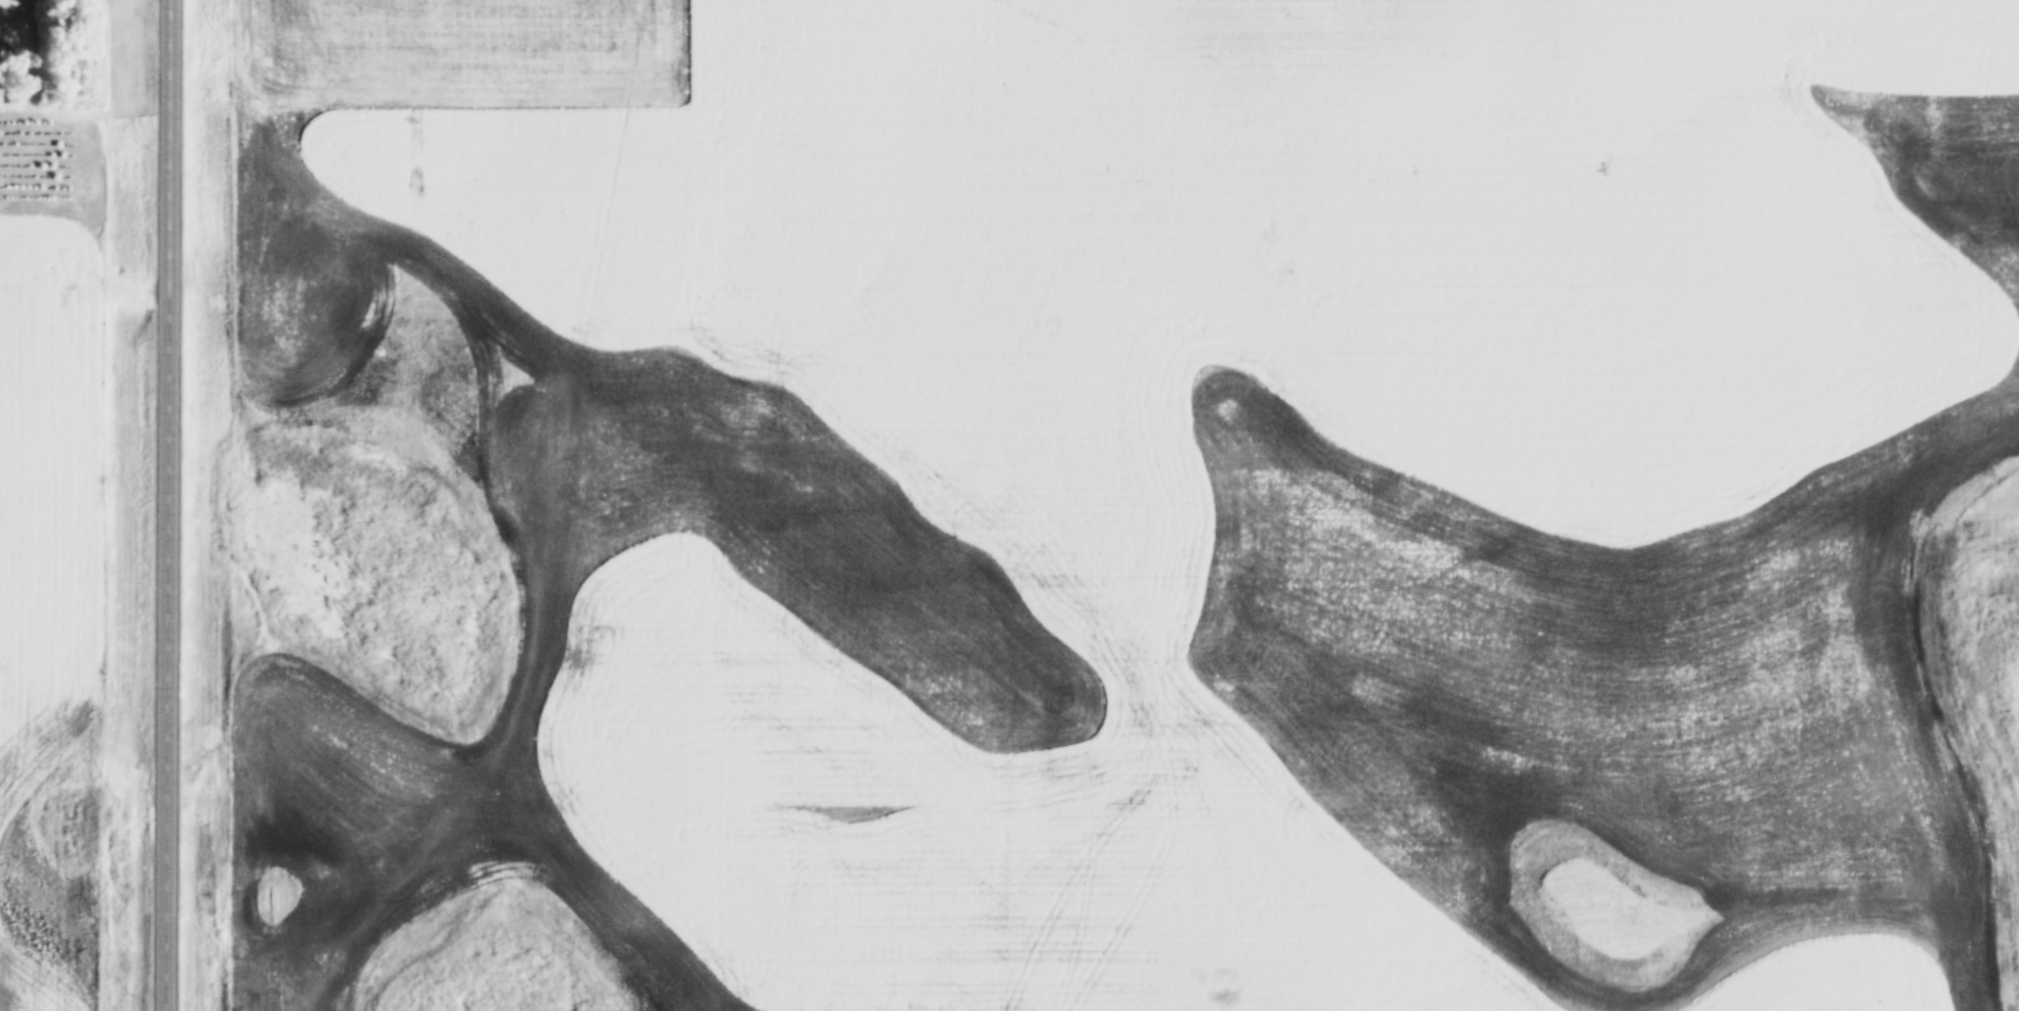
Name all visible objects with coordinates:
road: (170, 505)

